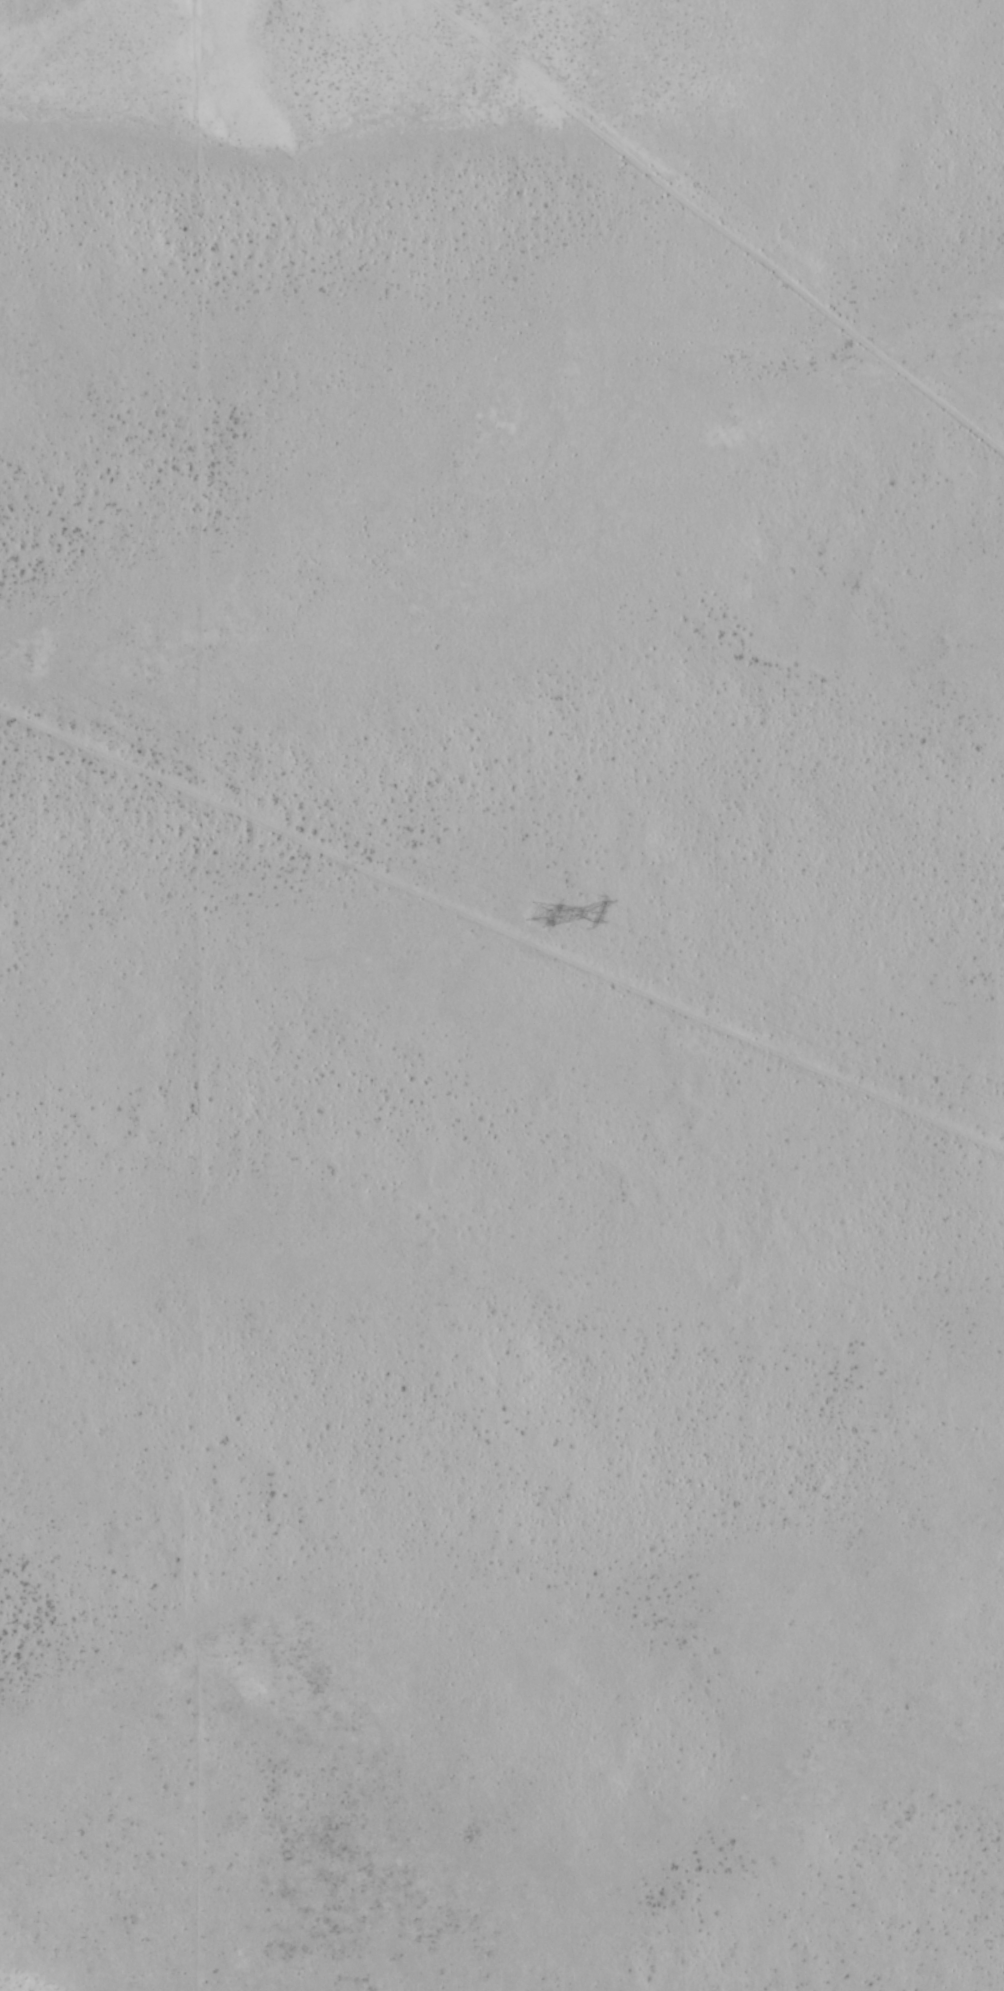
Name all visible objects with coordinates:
power tower: (537, 914)

